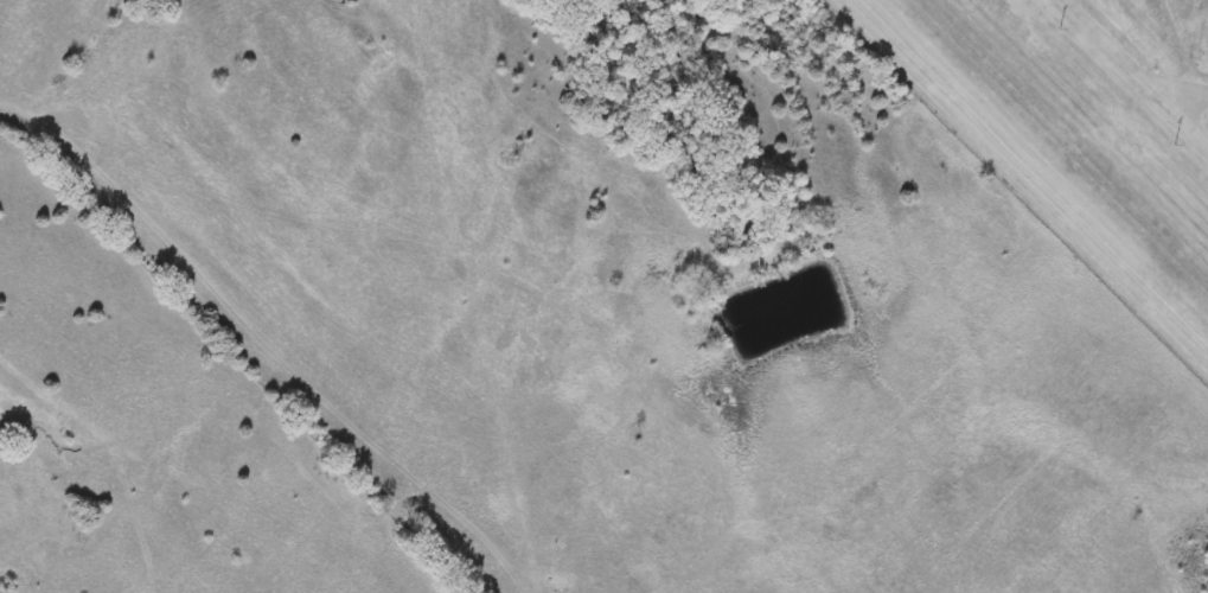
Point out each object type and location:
road: (1139, 66)

